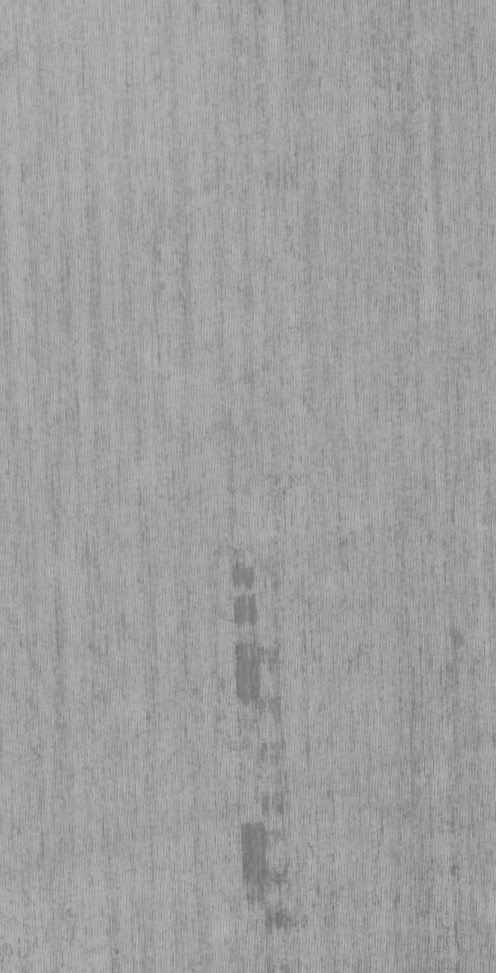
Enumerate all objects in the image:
road: (248, 798)

